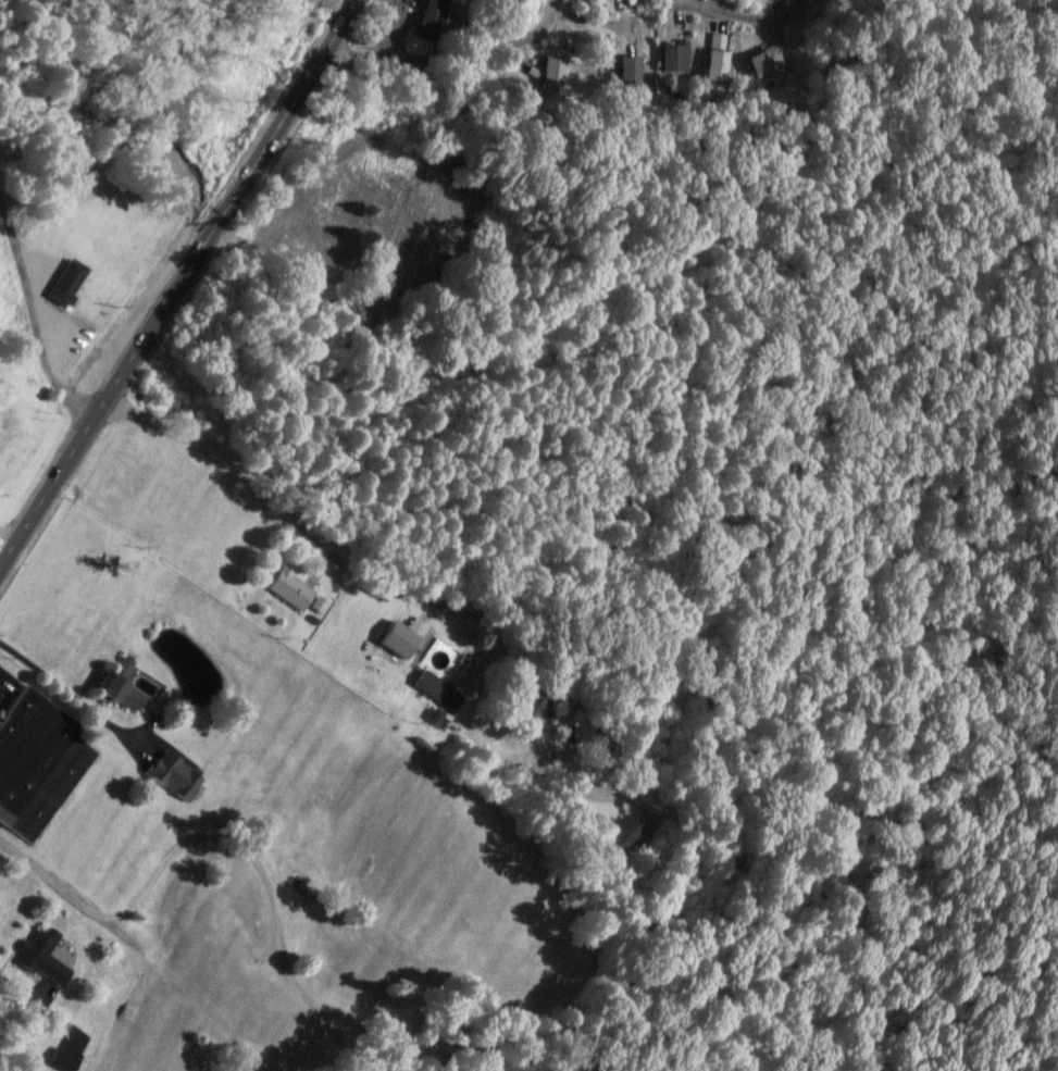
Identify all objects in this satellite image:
road: (734, 11)
building: (434, 16)
road: (453, 53)
building: (674, 54)
building: (718, 55)
building: (769, 62)
building: (628, 64)
building: (552, 71)
building: (72, 281)
road: (182, 285)
road: (53, 337)
building: (192, 470)
road: (316, 544)
building: (294, 588)
building: (127, 688)
building: (440, 688)
building: (39, 758)
building: (178, 773)
building: (47, 957)

